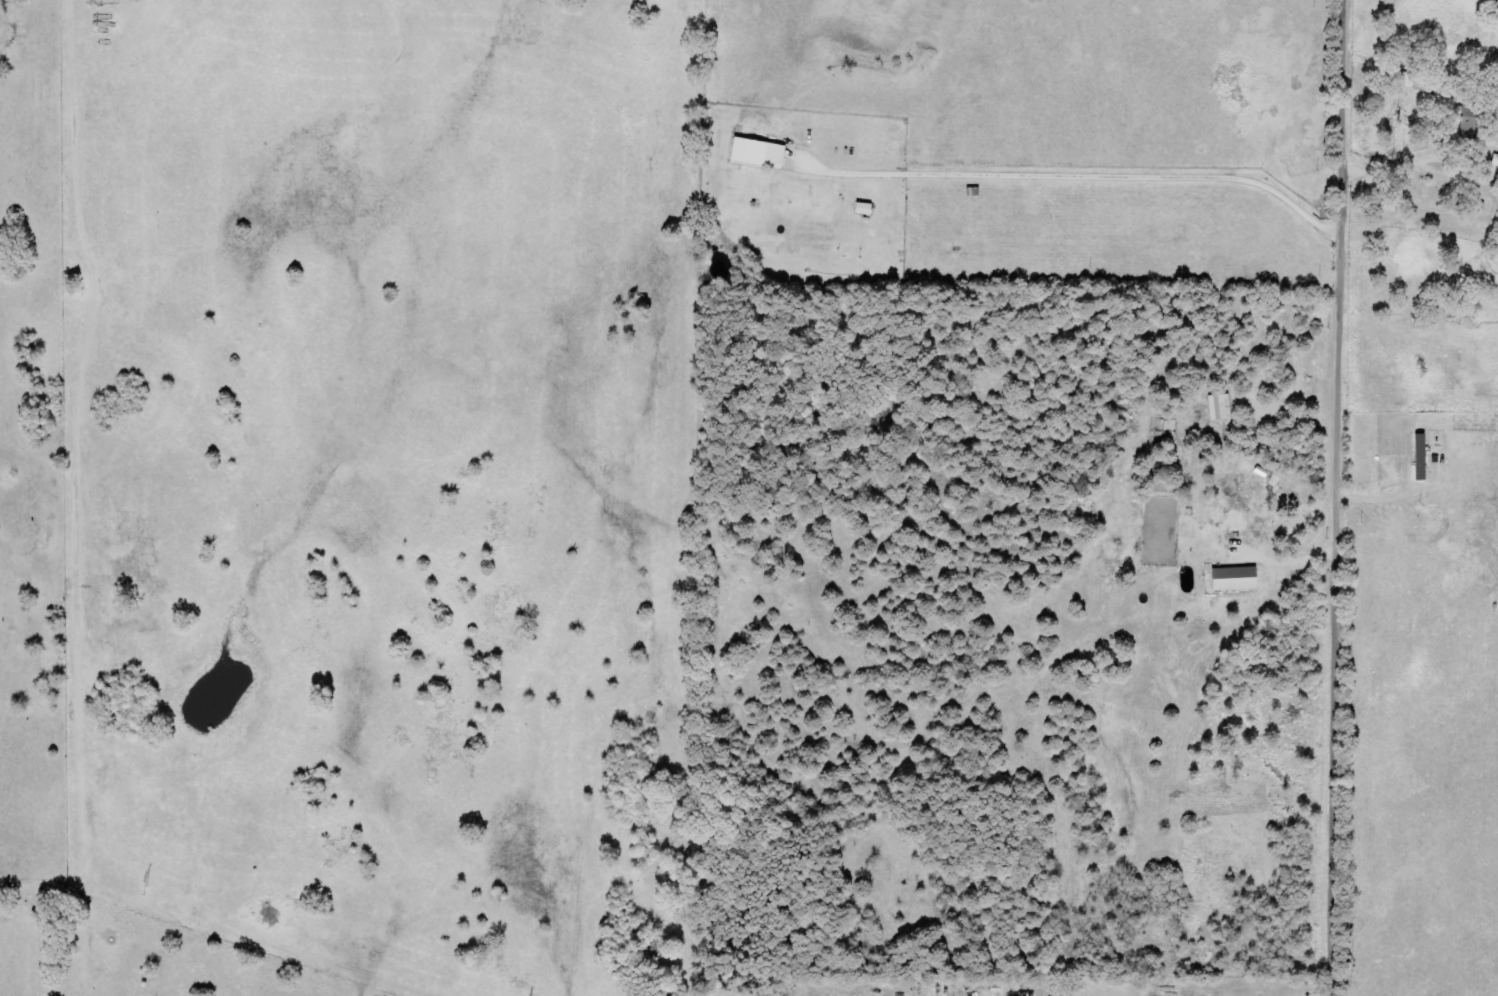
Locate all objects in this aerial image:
building: (1412, 80)
building: (1476, 121)
building: (765, 154)
building: (1497, 166)
road: (1323, 498)
building: (1243, 580)
power tower: (145, 892)

